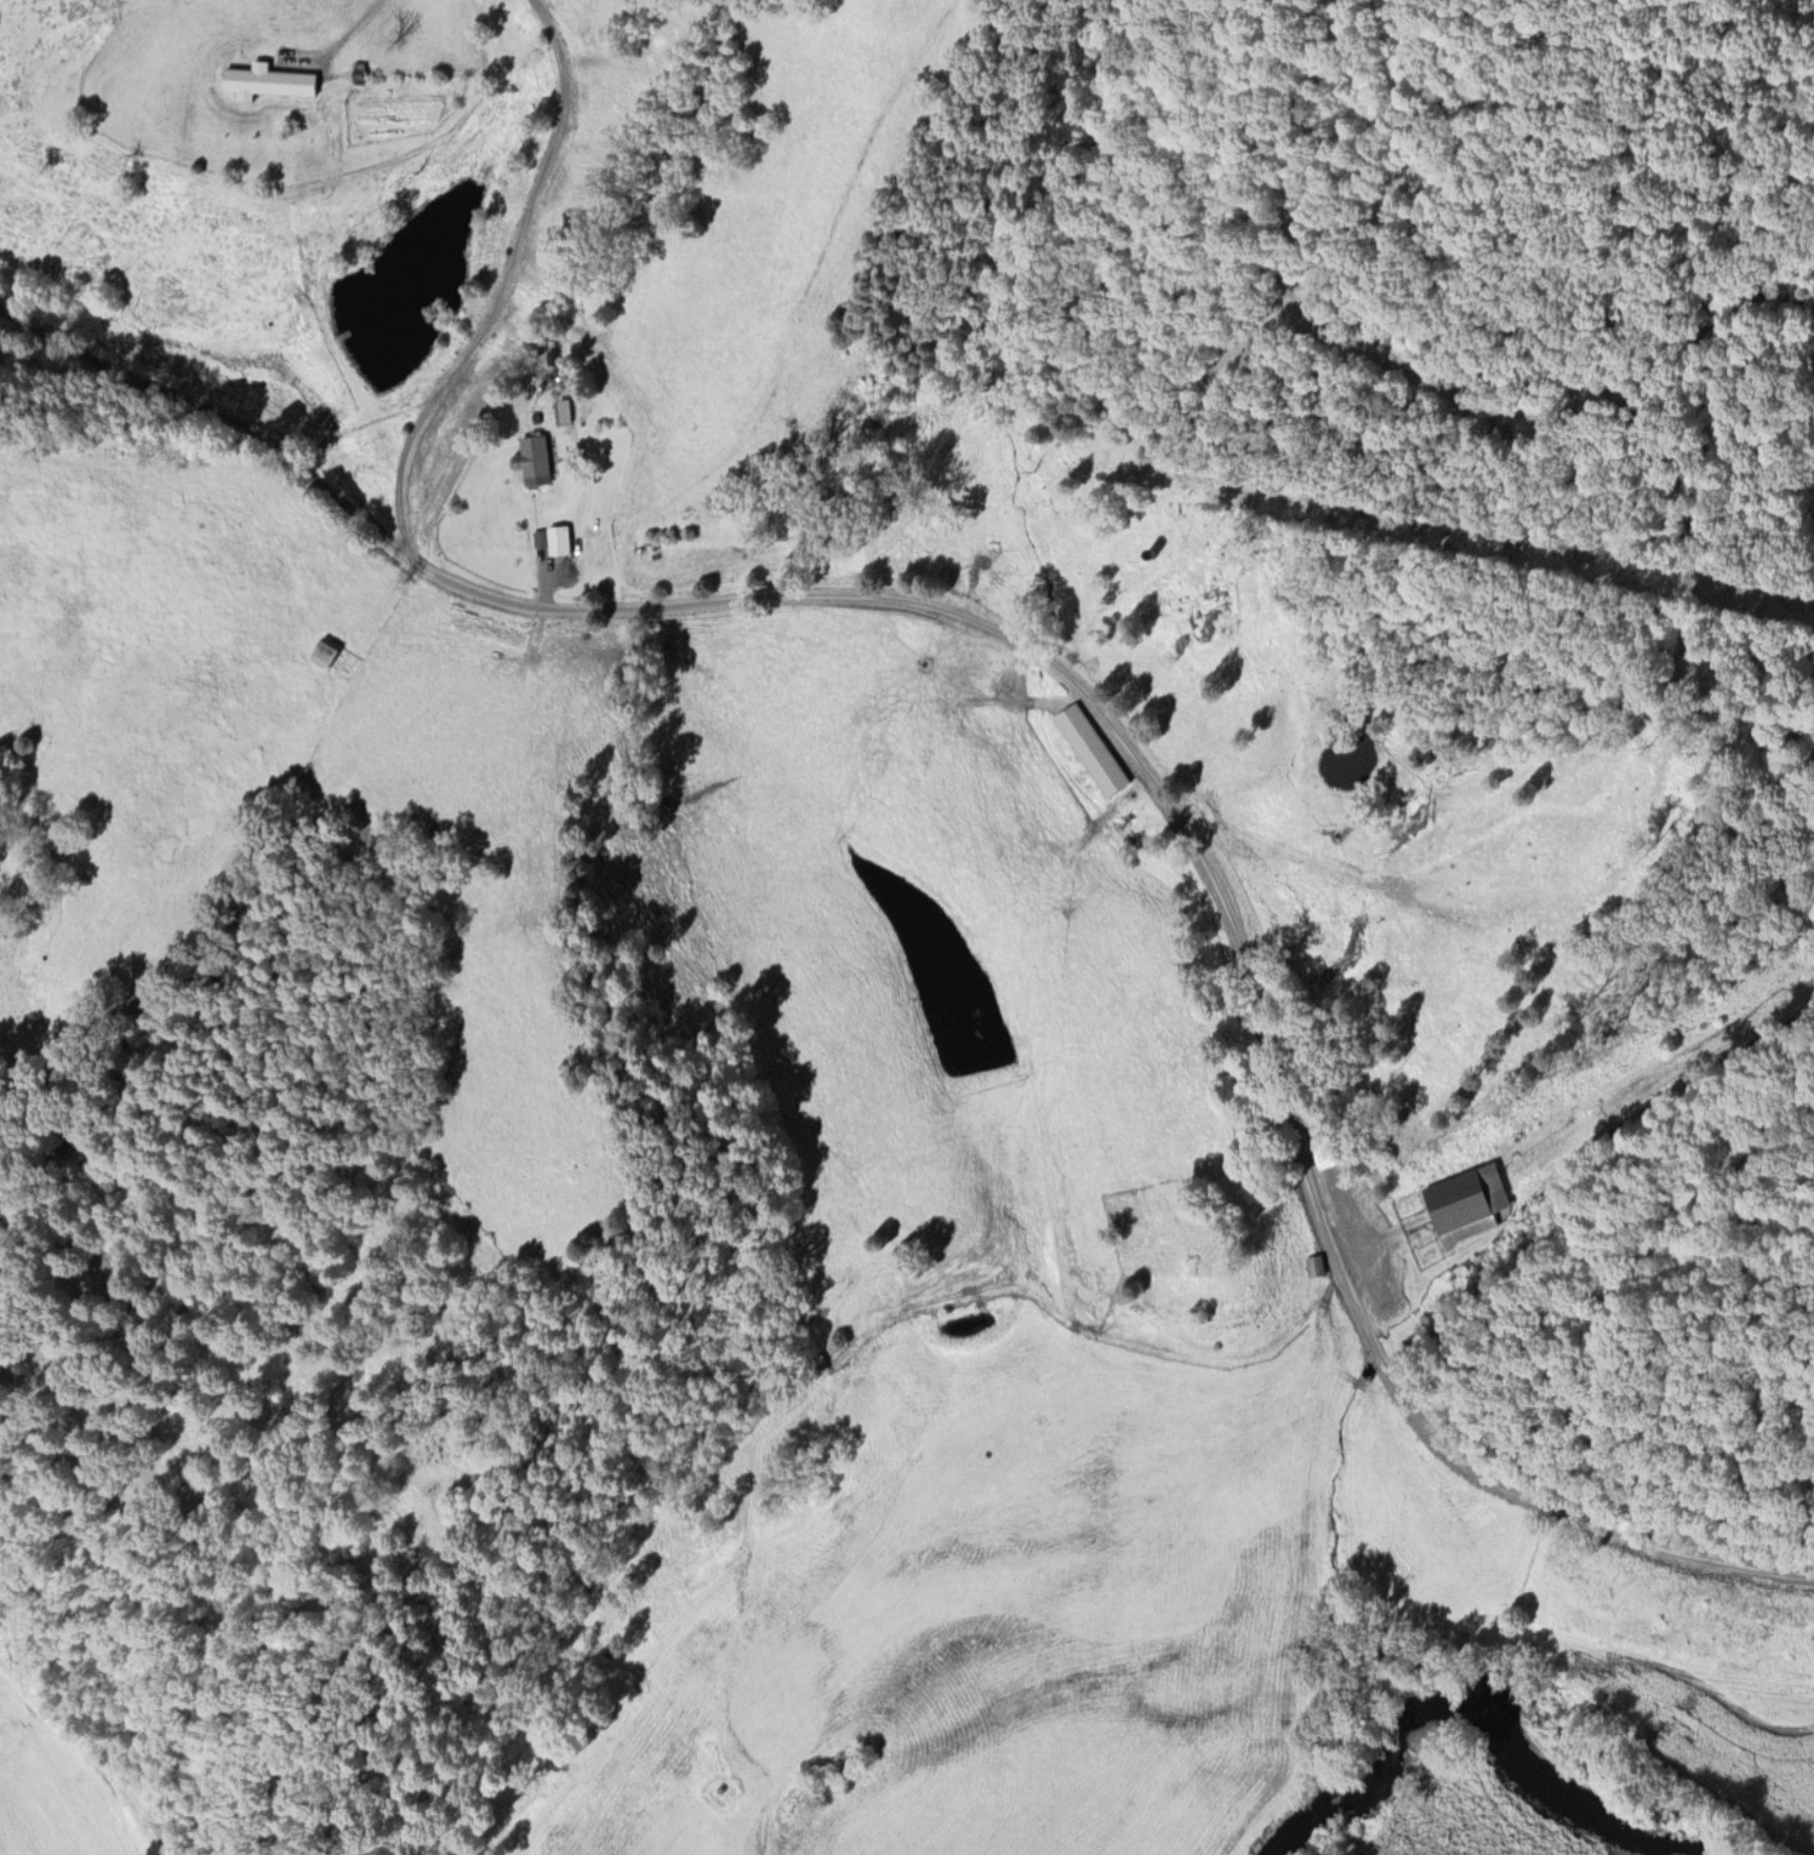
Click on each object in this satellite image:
road: (337, 40)
building: (359, 69)
building: (270, 78)
road: (503, 287)
building: (534, 453)
building: (553, 540)
building: (326, 649)
road: (1102, 708)
building: (1089, 746)
crop: (858, 1200)
building: (1470, 1203)
building: (1314, 1261)
building: (1382, 1284)
road: (814, 1374)
river: (1512, 1693)
crop: (49, 1794)

